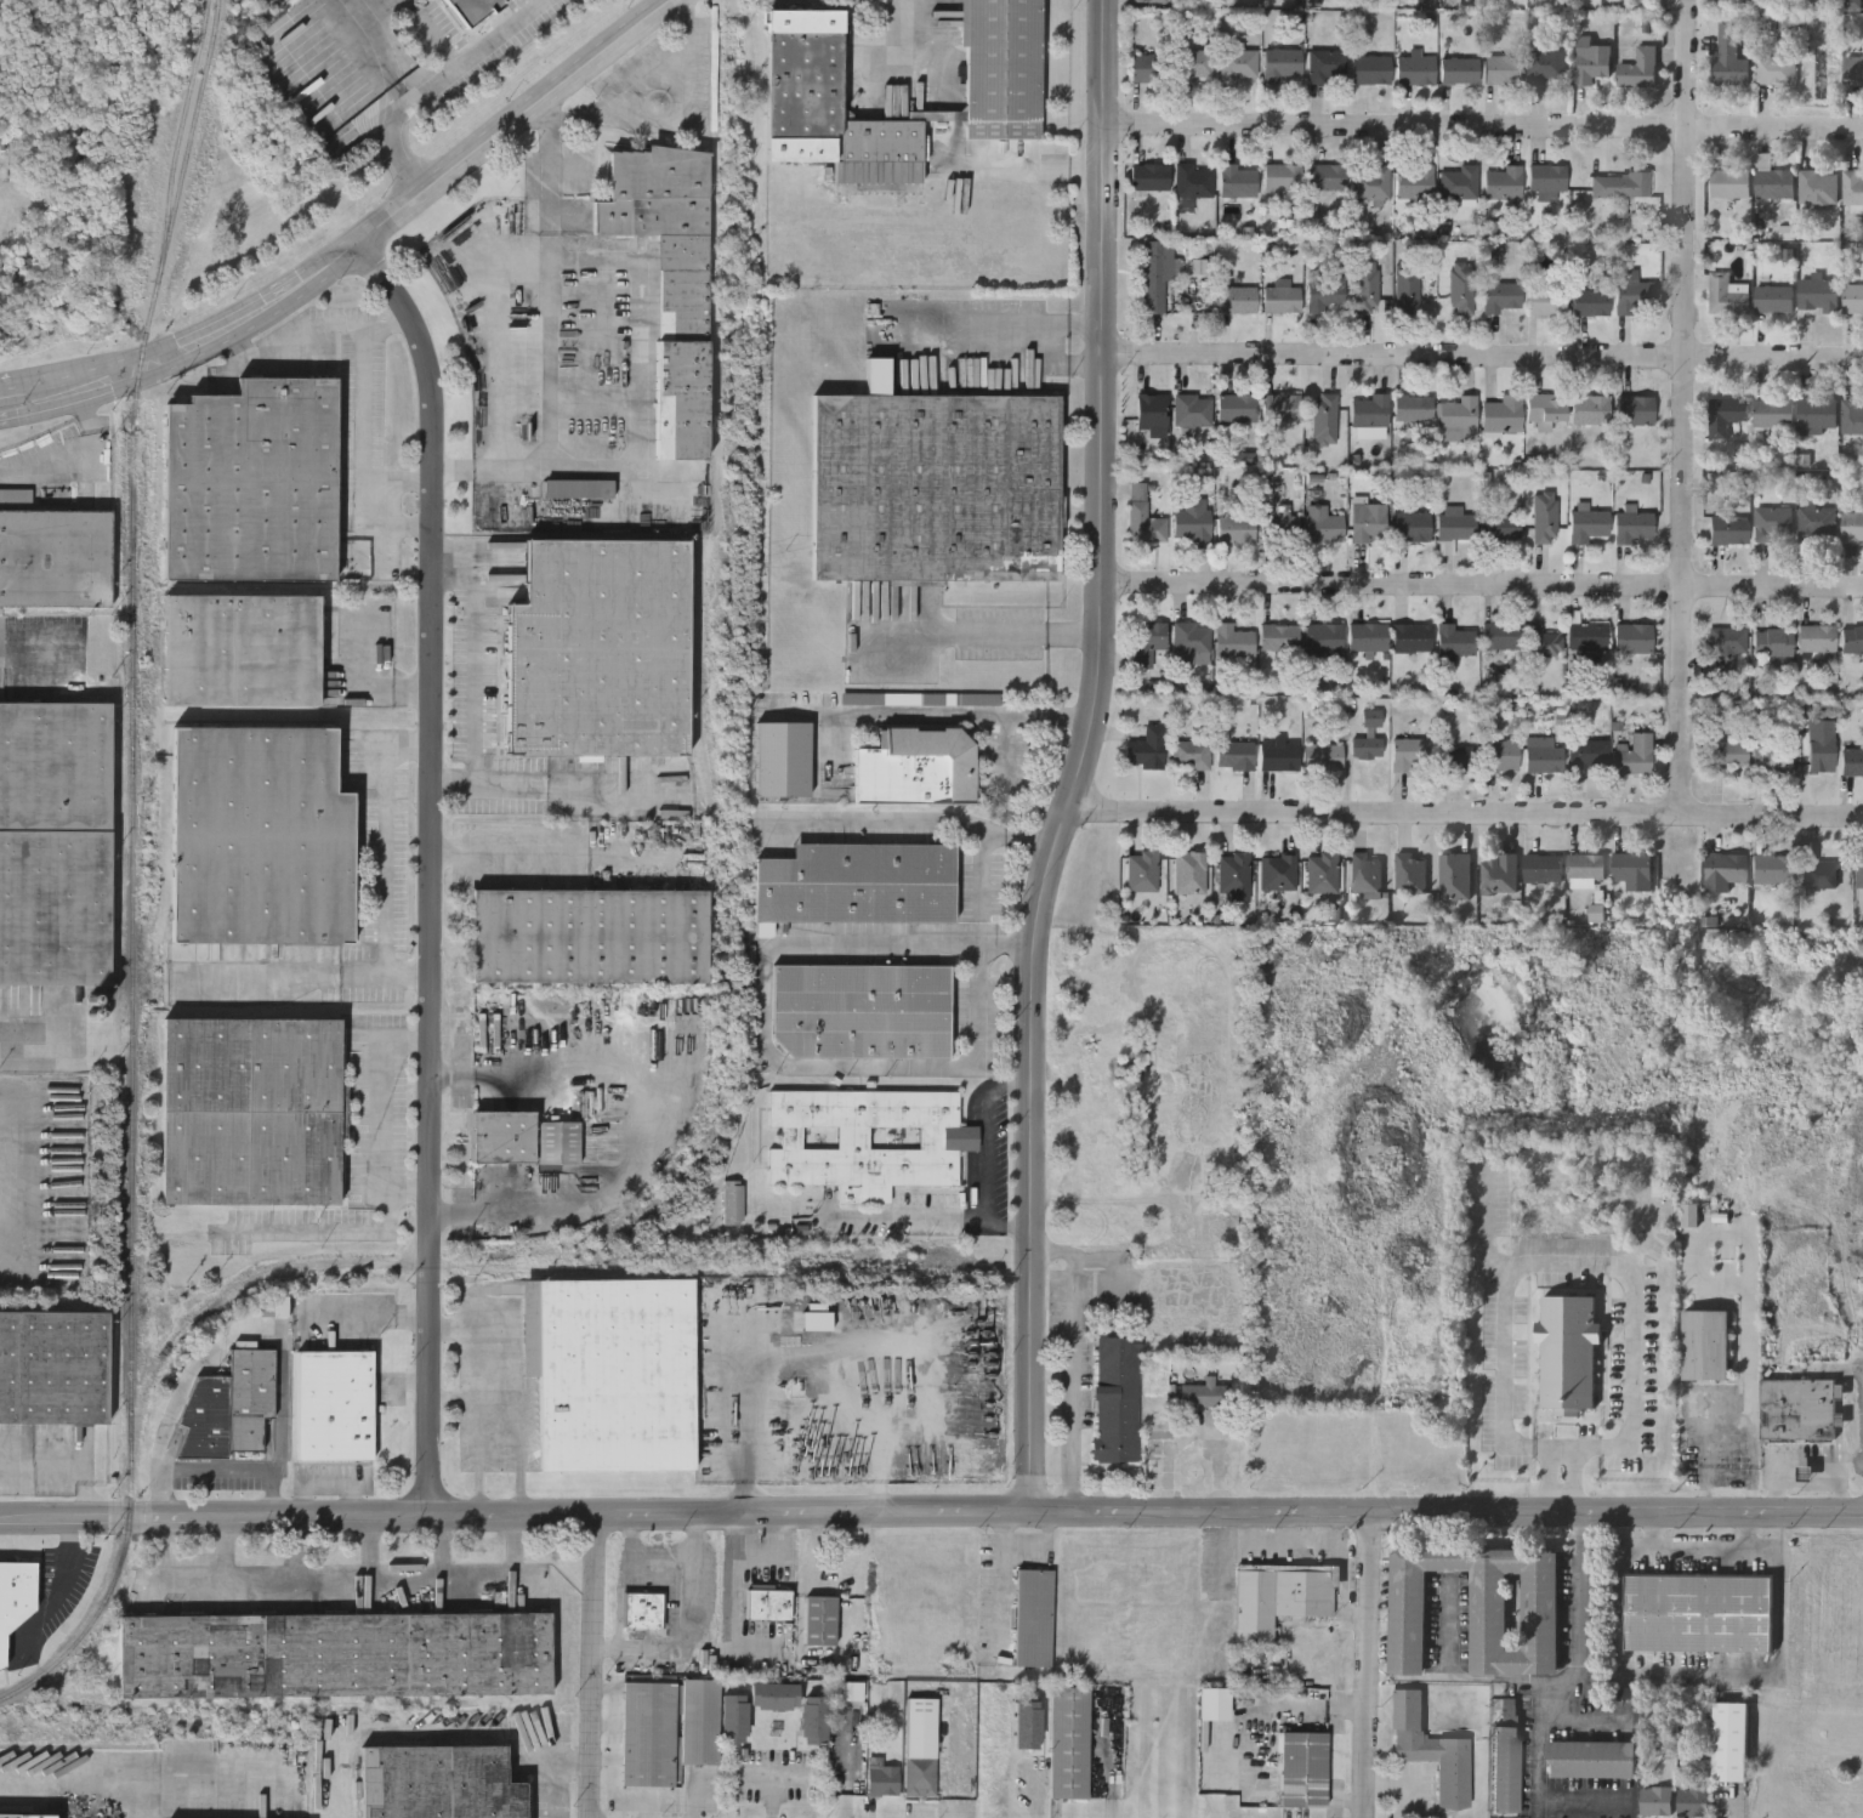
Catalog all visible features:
building: (1149, 1)
building: (471, 10)
road: (903, 39)
road: (381, 51)
building: (1729, 56)
building: (1237, 63)
building: (1591, 63)
building: (1194, 66)
building: (1280, 66)
building: (1001, 67)
building: (1325, 67)
building: (1546, 68)
building: (1149, 69)
building: (1776, 69)
building: (1637, 70)
building: (1370, 72)
building: (1414, 72)
building: (1458, 72)
building: (1503, 72)
building: (1853, 72)
road: (627, 76)
road: (434, 83)
building: (828, 106)
road: (1479, 125)
railway: (180, 140)
road: (1028, 166)
road: (454, 167)
building: (1146, 177)
building: (1282, 177)
building: (1327, 177)
road: (557, 180)
building: (1546, 180)
building: (1192, 181)
building: (1772, 181)
building: (1238, 182)
building: (1414, 182)
building: (1370, 183)
building: (1458, 183)
building: (1503, 183)
building: (1729, 184)
building: (1618, 186)
building: (1852, 188)
building: (1817, 189)
building: (664, 223)
building: (1153, 278)
building: (1405, 286)
building: (1364, 288)
building: (1460, 289)
building: (1324, 294)
building: (1726, 295)
building: (1817, 296)
building: (1501, 297)
building: (1632, 297)
building: (1280, 300)
building: (1852, 300)
building: (1236, 301)
building: (1773, 301)
building: (1545, 302)
building: (1589, 303)
road: (479, 308)
road: (643, 317)
road: (1001, 323)
road: (223, 330)
road: (312, 337)
road: (1481, 357)
road: (120, 359)
road: (1055, 360)
road: (11, 381)
road: (115, 392)
building: (681, 398)
building: (1236, 408)
building: (1279, 408)
building: (1412, 408)
road: (1685, 408)
building: (1545, 409)
building: (1191, 410)
building: (1589, 410)
building: (1634, 410)
building: (1151, 411)
building: (1368, 411)
building: (1459, 414)
building: (1501, 414)
building: (1773, 414)
building: (1817, 414)
building: (1725, 416)
road: (365, 417)
building: (1852, 417)
building: (1323, 420)
road: (70, 462)
road: (460, 468)
road: (564, 470)
building: (252, 482)
road: (404, 482)
building: (578, 488)
building: (935, 488)
building: (1543, 517)
building: (1142, 519)
building: (1192, 521)
building: (1367, 523)
building: (1454, 523)
road: (404, 524)
building: (1587, 524)
building: (1772, 524)
building: (1816, 524)
building: (1852, 524)
building: (1322, 525)
building: (1412, 527)
building: (1499, 528)
building: (1632, 528)
building: (1236, 529)
building: (1279, 529)
building: (1728, 532)
road: (387, 533)
building: (55, 558)
road: (1482, 592)
road: (983, 635)
building: (1499, 636)
building: (1587, 637)
road: (29, 638)
building: (1191, 638)
building: (1278, 638)
building: (1367, 638)
building: (1410, 638)
building: (1322, 640)
building: (1631, 640)
building: (1816, 640)
building: (1852, 641)
building: (1146, 642)
building: (1232, 642)
building: (1453, 644)
building: (1772, 644)
building: (1538, 647)
building: (1723, 647)
building: (600, 649)
building: (240, 650)
road: (359, 684)
building: (879, 698)
road: (962, 714)
railway: (132, 715)
building: (1364, 749)
building: (1146, 750)
building: (1586, 754)
road: (1080, 755)
building: (1631, 755)
building: (1189, 756)
building: (1234, 756)
building: (1410, 756)
building: (1500, 756)
building: (1278, 757)
building: (1322, 757)
building: (1725, 757)
building: (1544, 760)
building: (1814, 760)
building: (1454, 761)
building: (1771, 761)
building: (1852, 763)
road: (473, 767)
building: (915, 768)
road: (454, 778)
road: (1462, 813)
road: (911, 820)
building: (259, 835)
building: (55, 843)
road: (533, 853)
road: (387, 859)
road: (434, 867)
building: (1585, 868)
road: (977, 869)
building: (1725, 869)
building: (1543, 870)
building: (1770, 870)
building: (1141, 871)
building: (1632, 871)
building: (1188, 873)
building: (1232, 873)
building: (1859, 873)
building: (1277, 874)
building: (1320, 874)
building: (1409, 874)
building: (1814, 874)
building: (1499, 875)
building: (1364, 876)
building: (1454, 877)
building: (857, 882)
building: (589, 936)
building: (862, 1010)
road: (765, 1034)
building: (250, 1112)
road: (375, 1112)
road: (648, 1136)
building: (501, 1137)
road: (986, 1138)
building: (867, 1141)
building: (732, 1201)
road: (905, 1218)
road: (1007, 1227)
road: (1571, 1265)
road: (1749, 1301)
road: (379, 1320)
road: (248, 1328)
building: (1705, 1345)
building: (1568, 1353)
road: (1074, 1354)
road: (481, 1357)
building: (53, 1368)
building: (610, 1371)
building: (1204, 1394)
building: (1115, 1399)
building: (334, 1405)
building: (1708, 1405)
building: (231, 1410)
building: (1797, 1410)
road: (742, 1425)
road: (519, 1433)
road: (1540, 1447)
road: (1561, 1448)
road: (1585, 1448)
road: (1708, 1451)
road: (479, 1453)
road: (69, 1462)
road: (1782, 1464)
road: (217, 1470)
road: (1839, 1478)
road: (1549, 1479)
road: (1573, 1481)
road: (1841, 1502)
road: (1202, 1507)
road: (516, 1511)
road: (1617, 1513)
road: (1580, 1533)
road: (1749, 1533)
road: (225, 1551)
road: (297, 1551)
road: (368, 1551)
road: (443, 1551)
road: (346, 1589)
railway: (109, 1592)
building: (15, 1593)
building: (1279, 1596)
building: (768, 1603)
building: (1479, 1608)
building: (643, 1609)
building: (1698, 1612)
building: (1033, 1617)
building: (819, 1619)
road: (1449, 1629)
building: (334, 1653)
road: (592, 1663)
road: (1368, 1663)
road: (1766, 1675)
road: (1466, 1678)
road: (1561, 1686)
building: (774, 1697)
building: (1214, 1701)
building: (734, 1718)
building: (699, 1720)
building: (813, 1720)
building: (1028, 1722)
building: (648, 1732)
building: (1068, 1740)
building: (1731, 1740)
building: (920, 1745)
building: (1431, 1749)
road: (1108, 1756)
building: (1591, 1760)
building: (1302, 1768)
building: (1505, 1771)
road: (772, 1778)
building: (881, 1778)
building: (438, 1782)
building: (1655, 1800)
building: (1693, 1801)
building: (1608, 1808)
building: (25, 1814)

